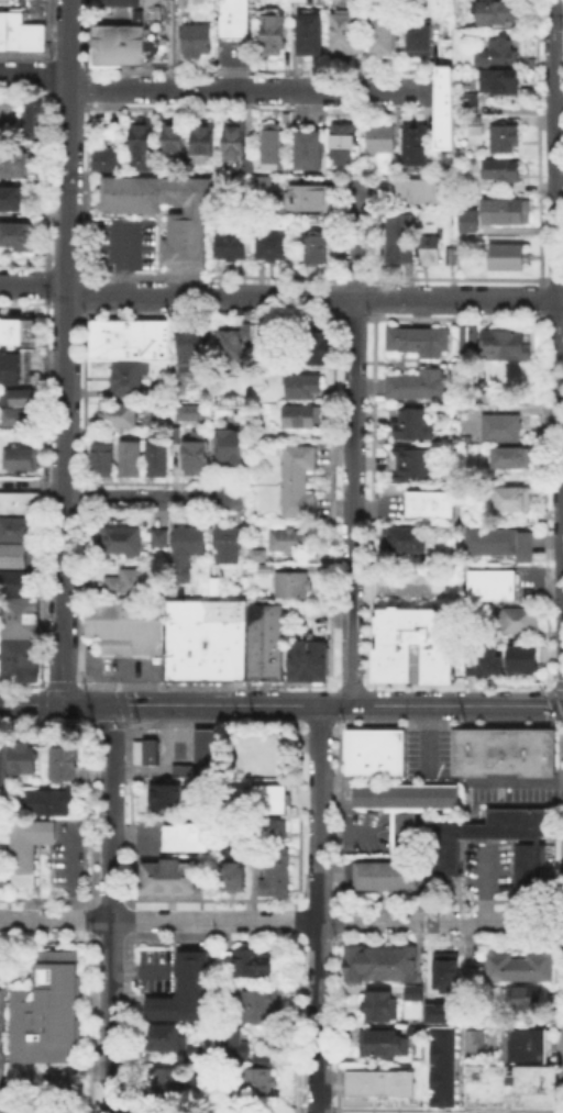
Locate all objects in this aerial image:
building: (123, 2)
building: (184, 3)
building: (498, 11)
building: (233, 18)
building: (21, 29)
building: (157, 32)
building: (308, 32)
building: (341, 32)
building: (272, 33)
building: (380, 33)
building: (418, 37)
building: (195, 40)
building: (117, 44)
building: (496, 52)
building: (497, 79)
road: (210, 89)
building: (466, 101)
building: (443, 107)
building: (34, 118)
building: (8, 119)
building: (474, 119)
building: (140, 135)
building: (172, 135)
building: (379, 136)
building: (503, 136)
building: (340, 140)
building: (232, 141)
building: (269, 142)
building: (200, 143)
building: (415, 144)
building: (307, 148)
road: (554, 148)
building: (104, 159)
building: (139, 159)
building: (394, 160)
building: (245, 164)
building: (12, 165)
building: (501, 172)
building: (265, 185)
building: (420, 193)
building: (308, 200)
building: (11, 201)
building: (508, 214)
building: (319, 221)
building: (186, 224)
building: (468, 227)
building: (14, 238)
building: (402, 241)
building: (233, 246)
building: (276, 248)
building: (319, 251)
building: (431, 252)
building: (453, 258)
building: (510, 259)
road: (278, 294)
road: (560, 297)
building: (16, 330)
building: (128, 337)
building: (467, 338)
building: (417, 340)
building: (228, 344)
building: (503, 344)
building: (188, 346)
building: (317, 346)
road: (65, 352)
building: (9, 367)
building: (124, 377)
building: (416, 383)
building: (299, 385)
building: (15, 397)
building: (189, 411)
building: (114, 413)
building: (15, 415)
building: (300, 415)
building: (412, 423)
building: (500, 426)
building: (174, 433)
road: (352, 442)
building: (228, 444)
road: (560, 453)
building: (154, 456)
building: (194, 456)
building: (509, 456)
building: (100, 457)
building: (126, 457)
building: (21, 459)
building: (413, 461)
building: (297, 480)
building: (511, 497)
road: (153, 499)
building: (430, 502)
building: (19, 503)
building: (13, 527)
building: (157, 535)
building: (404, 537)
building: (120, 538)
building: (287, 538)
building: (498, 541)
building: (227, 543)
building: (185, 548)
building: (255, 553)
building: (13, 554)
building: (264, 566)
building: (14, 581)
building: (124, 581)
building: (290, 582)
building: (490, 583)
road: (375, 588)
building: (19, 615)
building: (517, 619)
building: (124, 624)
building: (205, 638)
building: (264, 641)
building: (521, 656)
building: (19, 659)
building: (306, 659)
building: (482, 659)
building: (393, 661)
road: (30, 703)
road: (87, 704)
road: (336, 705)
road: (297, 711)
road: (369, 711)
road: (124, 712)
road: (369, 720)
road: (92, 723)
road: (110, 723)
road: (125, 723)
road: (300, 723)
road: (317, 723)
road: (350, 723)
building: (203, 744)
building: (147, 749)
building: (373, 750)
building: (503, 750)
building: (22, 756)
building: (1, 763)
building: (60, 763)
building: (180, 768)
building: (164, 794)
building: (265, 797)
building: (48, 801)
road: (336, 805)
building: (404, 805)
road: (129, 813)
road: (297, 813)
road: (318, 813)
road: (88, 815)
building: (271, 833)
building: (478, 833)
building: (185, 837)
building: (26, 847)
building: (529, 866)
building: (272, 869)
building: (0, 872)
building: (384, 873)
building: (230, 875)
building: (169, 877)
road: (110, 908)
road: (88, 919)
road: (128, 919)
road: (336, 919)
road: (158, 920)
road: (297, 920)
road: (440, 921)
building: (225, 961)
building: (377, 961)
building: (253, 965)
building: (517, 965)
building: (443, 969)
building: (411, 991)
building: (188, 993)
building: (526, 995)
building: (374, 1004)
building: (263, 1009)
building: (438, 1012)
road: (317, 1016)
road: (87, 1021)
road: (126, 1022)
road: (297, 1022)
road: (335, 1022)
building: (46, 1026)
building: (161, 1036)
building: (472, 1040)
building: (380, 1042)
building: (1, 1043)
building: (523, 1044)
building: (238, 1045)
building: (264, 1061)
building: (440, 1065)
building: (378, 1082)
building: (167, 1083)
building: (258, 1084)
building: (510, 1086)

